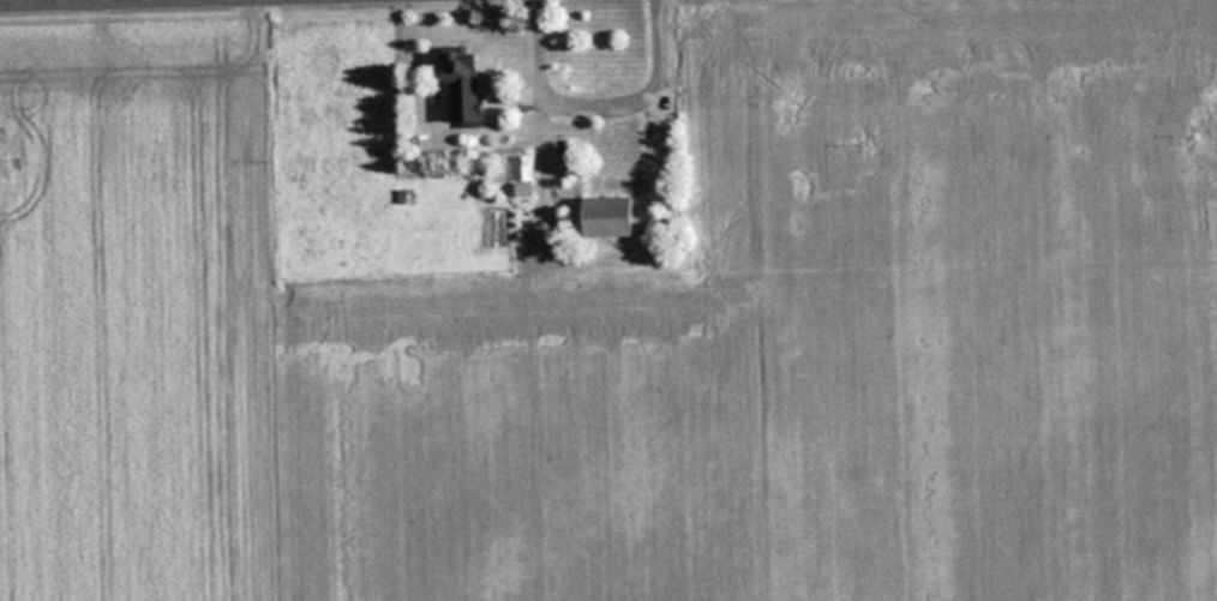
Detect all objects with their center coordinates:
building: (467, 83)
building: (523, 168)
building: (616, 218)

